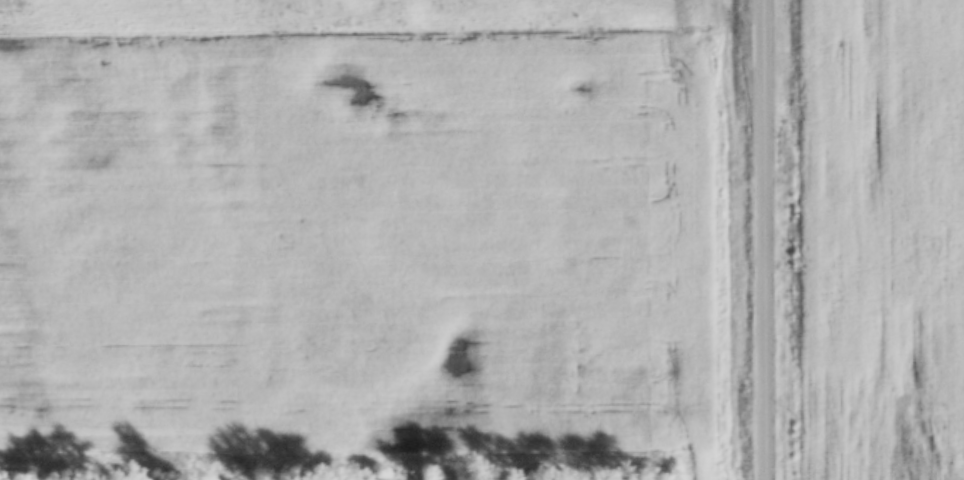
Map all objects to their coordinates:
road: (765, 240)

